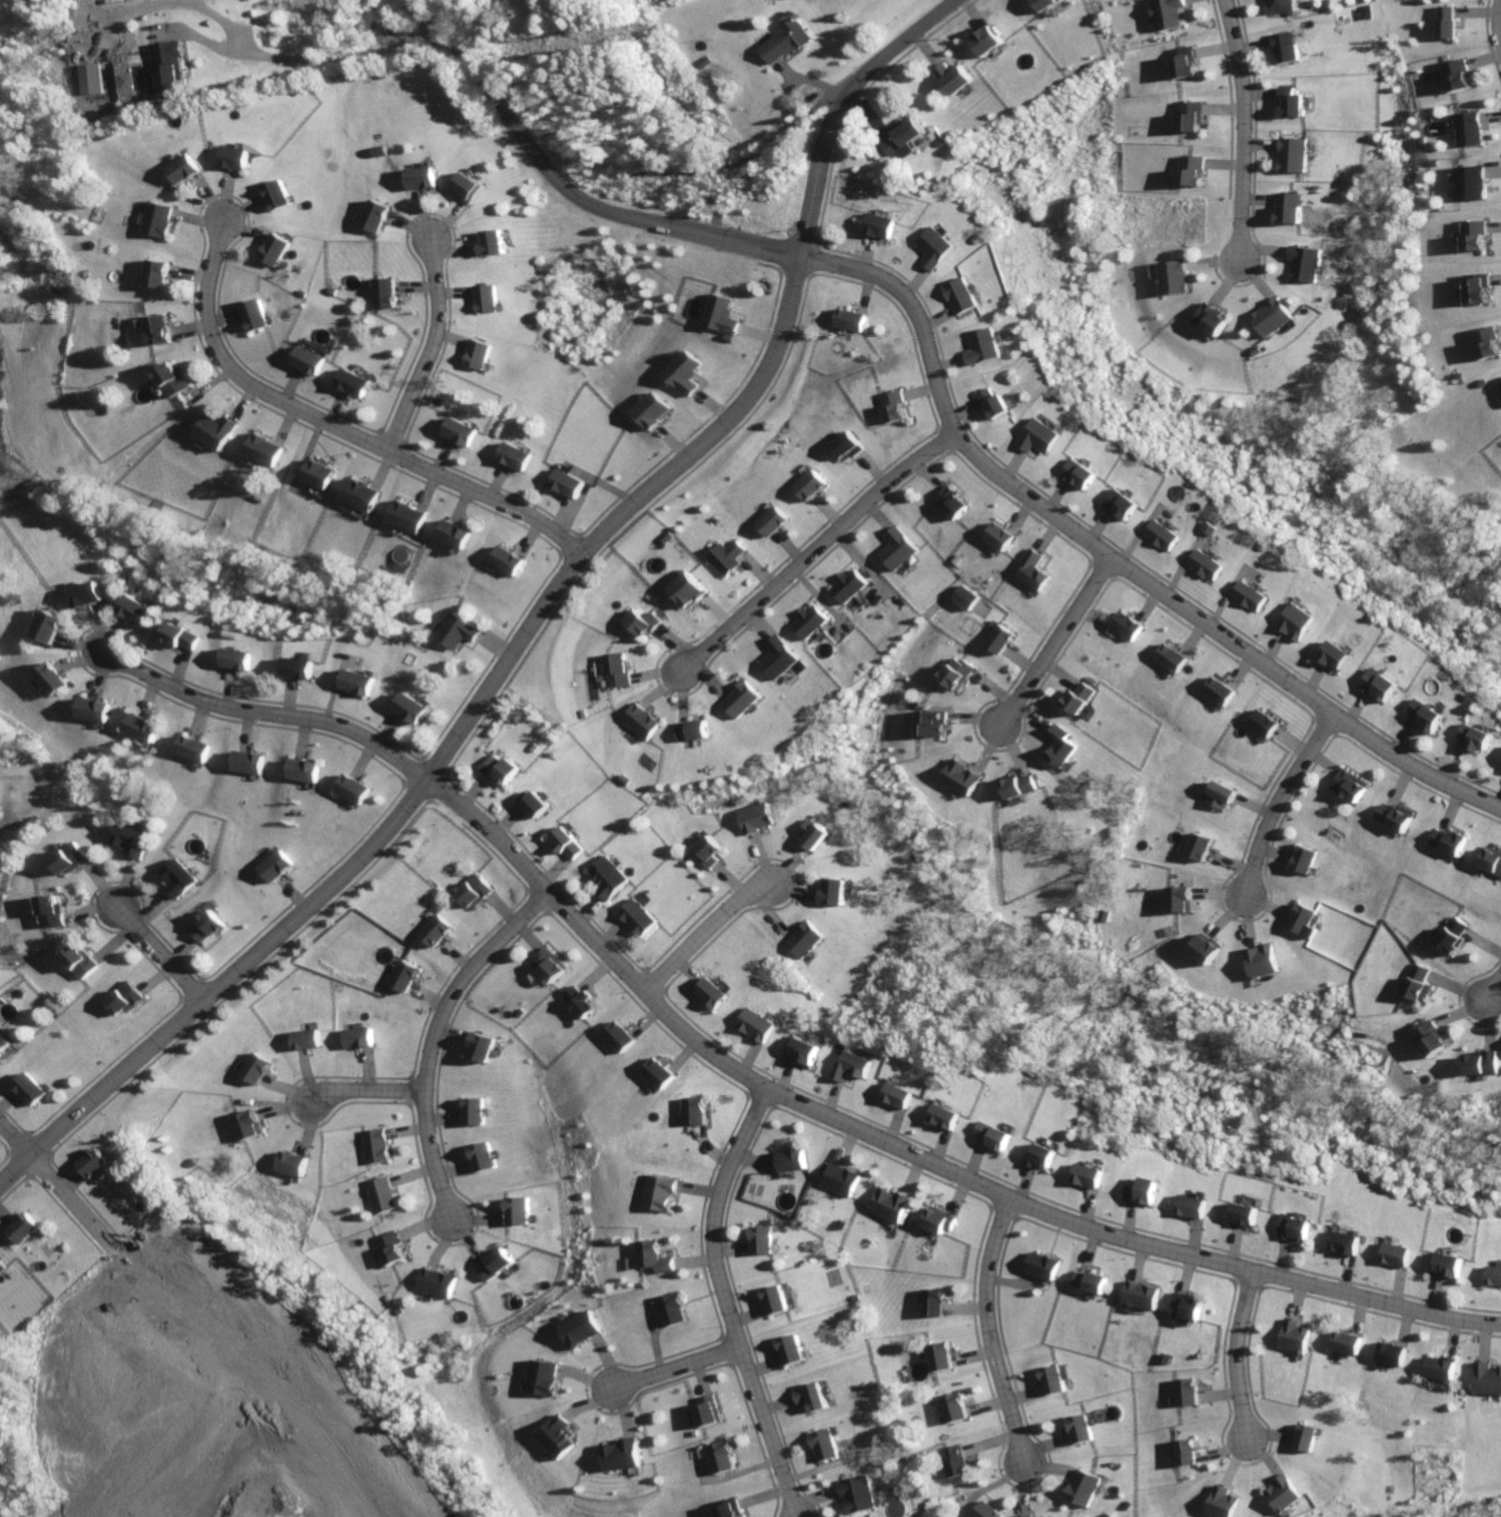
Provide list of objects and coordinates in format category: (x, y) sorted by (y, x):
building: (1040, 1)
building: (1276, 7)
building: (1166, 12)
road: (1497, 21)
building: (1444, 24)
building: (985, 33)
building: (790, 34)
building: (1284, 48)
road: (309, 59)
building: (1184, 64)
building: (169, 67)
building: (953, 70)
building: (1456, 76)
building: (90, 78)
building: (1291, 103)
road: (845, 108)
building: (1184, 117)
road: (1240, 128)
building: (905, 130)
building: (1467, 131)
building: (1292, 156)
building: (239, 159)
building: (186, 168)
road: (546, 169)
building: (1189, 173)
building: (430, 180)
building: (1467, 184)
building: (473, 187)
building: (283, 195)
building: (1287, 208)
building: (379, 217)
building: (160, 221)
building: (881, 225)
building: (1472, 235)
building: (499, 242)
building: (281, 249)
building: (935, 251)
road: (773, 253)
building: (1305, 263)
building: (160, 275)
building: (1168, 280)
building: (1475, 290)
building: (390, 295)
building: (964, 297)
building: (493, 298)
building: (257, 315)
building: (722, 315)
building: (1269, 316)
building: (1210, 318)
building: (849, 321)
building: (159, 329)
building: (730, 339)
building: (1484, 342)
building: (987, 348)
road: (433, 350)
building: (482, 354)
building: (312, 361)
building: (685, 373)
building: (172, 378)
building: (357, 384)
building: (1500, 384)
building: (1499, 388)
building: (997, 405)
building: (894, 409)
building: (655, 411)
road: (336, 427)
building: (215, 431)
building: (463, 433)
building: (1043, 437)
building: (844, 446)
building: (265, 452)
building: (520, 458)
building: (318, 475)
building: (1082, 476)
building: (572, 484)
building: (808, 488)
building: (357, 496)
building: (951, 505)
building: (1126, 506)
building: (404, 518)
building: (771, 522)
building: (455, 534)
building: (1170, 535)
building: (1001, 539)
road: (816, 545)
building: (899, 550)
road: (1114, 556)
building: (727, 558)
building: (508, 560)
building: (1213, 565)
building: (1037, 570)
building: (851, 586)
building: (687, 588)
building: (963, 595)
building: (93, 596)
building: (1255, 597)
building: (139, 610)
building: (812, 622)
building: (1300, 624)
building: (642, 625)
building: (52, 628)
building: (1129, 628)
building: (457, 632)
building: (189, 637)
road: (1054, 640)
building: (1000, 641)
building: (783, 657)
building: (1339, 659)
building: (246, 660)
building: (1172, 660)
building: (303, 667)
building: (620, 669)
building: (957, 673)
building: (52, 679)
building: (358, 684)
building: (1383, 686)
building: (1220, 692)
building: (746, 701)
building: (1080, 701)
building: (413, 708)
building: (92, 711)
road: (263, 713)
building: (1430, 717)
building: (645, 721)
building: (1262, 725)
building: (932, 726)
building: (140, 728)
building: (699, 732)
building: (1483, 741)
building: (1060, 745)
building: (193, 746)
road: (440, 753)
building: (247, 762)
building: (501, 769)
building: (308, 772)
building: (960, 779)
building: (1019, 787)
building: (356, 789)
building: (1350, 789)
building: (1220, 797)
road: (1277, 797)
building: (539, 803)
building: (759, 819)
building: (1393, 819)
building: (819, 836)
building: (132, 842)
building: (1449, 842)
building: (572, 846)
building: (1200, 848)
building: (715, 853)
building: (75, 859)
building: (1304, 863)
building: (1490, 864)
building: (279, 869)
building: (614, 880)
building: (177, 881)
building: (475, 893)
building: (839, 893)
building: (1181, 900)
building: (54, 912)
building: (642, 919)
building: (1302, 922)
building: (209, 927)
building: (437, 933)
road: (703, 935)
building: (1444, 935)
building: (809, 941)
building: (1203, 953)
road: (165, 954)
building: (1263, 961)
building: (82, 962)
building: (551, 967)
building: (405, 978)
building: (1412, 984)
road: (1490, 987)
building: (712, 993)
building: (125, 999)
building: (580, 1004)
building: (759, 1027)
road: (431, 1038)
building: (359, 1039)
building: (619, 1040)
building: (1427, 1040)
building: (6, 1042)
building: (307, 1042)
building: (484, 1047)
building: (806, 1052)
building: (1478, 1065)
building: (856, 1068)
building: (257, 1071)
building: (657, 1075)
building: (34, 1089)
road: (364, 1092)
building: (905, 1097)
building: (477, 1113)
building: (694, 1113)
building: (950, 1116)
building: (251, 1127)
building: (1002, 1136)
building: (378, 1147)
road: (907, 1153)
building: (1047, 1157)
building: (485, 1158)
building: (789, 1162)
building: (94, 1164)
building: (296, 1165)
building: (842, 1179)
building: (1095, 1179)
road: (56, 1189)
building: (660, 1192)
building: (1150, 1194)
building: (385, 1196)
building: (894, 1205)
building: (1201, 1210)
building: (517, 1213)
building: (1254, 1219)
building: (943, 1221)
building: (1302, 1229)
building: (21, 1231)
building: (764, 1240)
building: (1353, 1246)
building: (397, 1251)
building: (1403, 1255)
building: (655, 1260)
building: (500, 1266)
building: (1046, 1267)
building: (1452, 1268)
building: (1, 1269)
building: (1496, 1275)
building: (443, 1283)
building: (1093, 1283)
building: (1146, 1297)
building: (778, 1300)
road: (724, 1301)
building: (937, 1303)
building: (1189, 1309)
building: (673, 1310)
building: (577, 1330)
road: (987, 1332)
building: (1291, 1335)
building: (1346, 1345)
building: (795, 1351)
building: (1394, 1354)
road: (1234, 1356)
building: (942, 1357)
building: (1443, 1369)
road: (673, 1371)
building: (545, 1377)
building: (1053, 1379)
building: (1485, 1379)
building: (1188, 1391)
building: (815, 1395)
building: (958, 1407)
building: (710, 1411)
building: (1082, 1428)
building: (561, 1437)
building: (1306, 1438)
building: (826, 1441)
building: (1182, 1451)
building: (622, 1455)
building: (722, 1457)
building: (957, 1461)
building: (1083, 1489)
building: (1282, 1492)
building: (860, 1495)
building: (1218, 1502)
building: (728, 1508)
building: (988, 1510)
building: (1031, 1515)
building: (1057, 1516)

